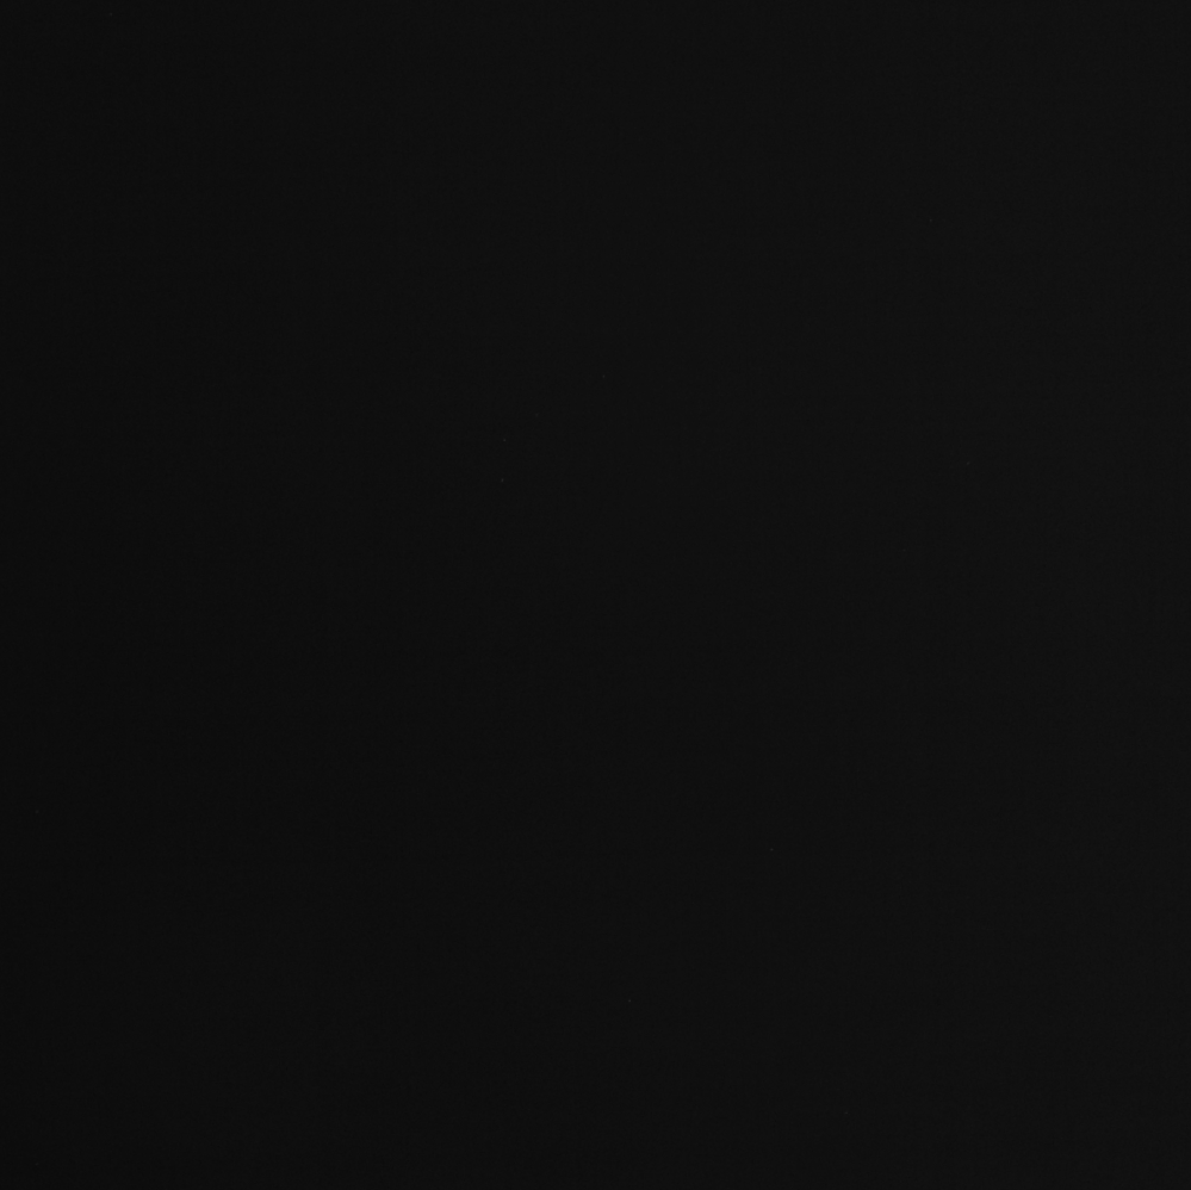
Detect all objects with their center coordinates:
river: (907, 180)

